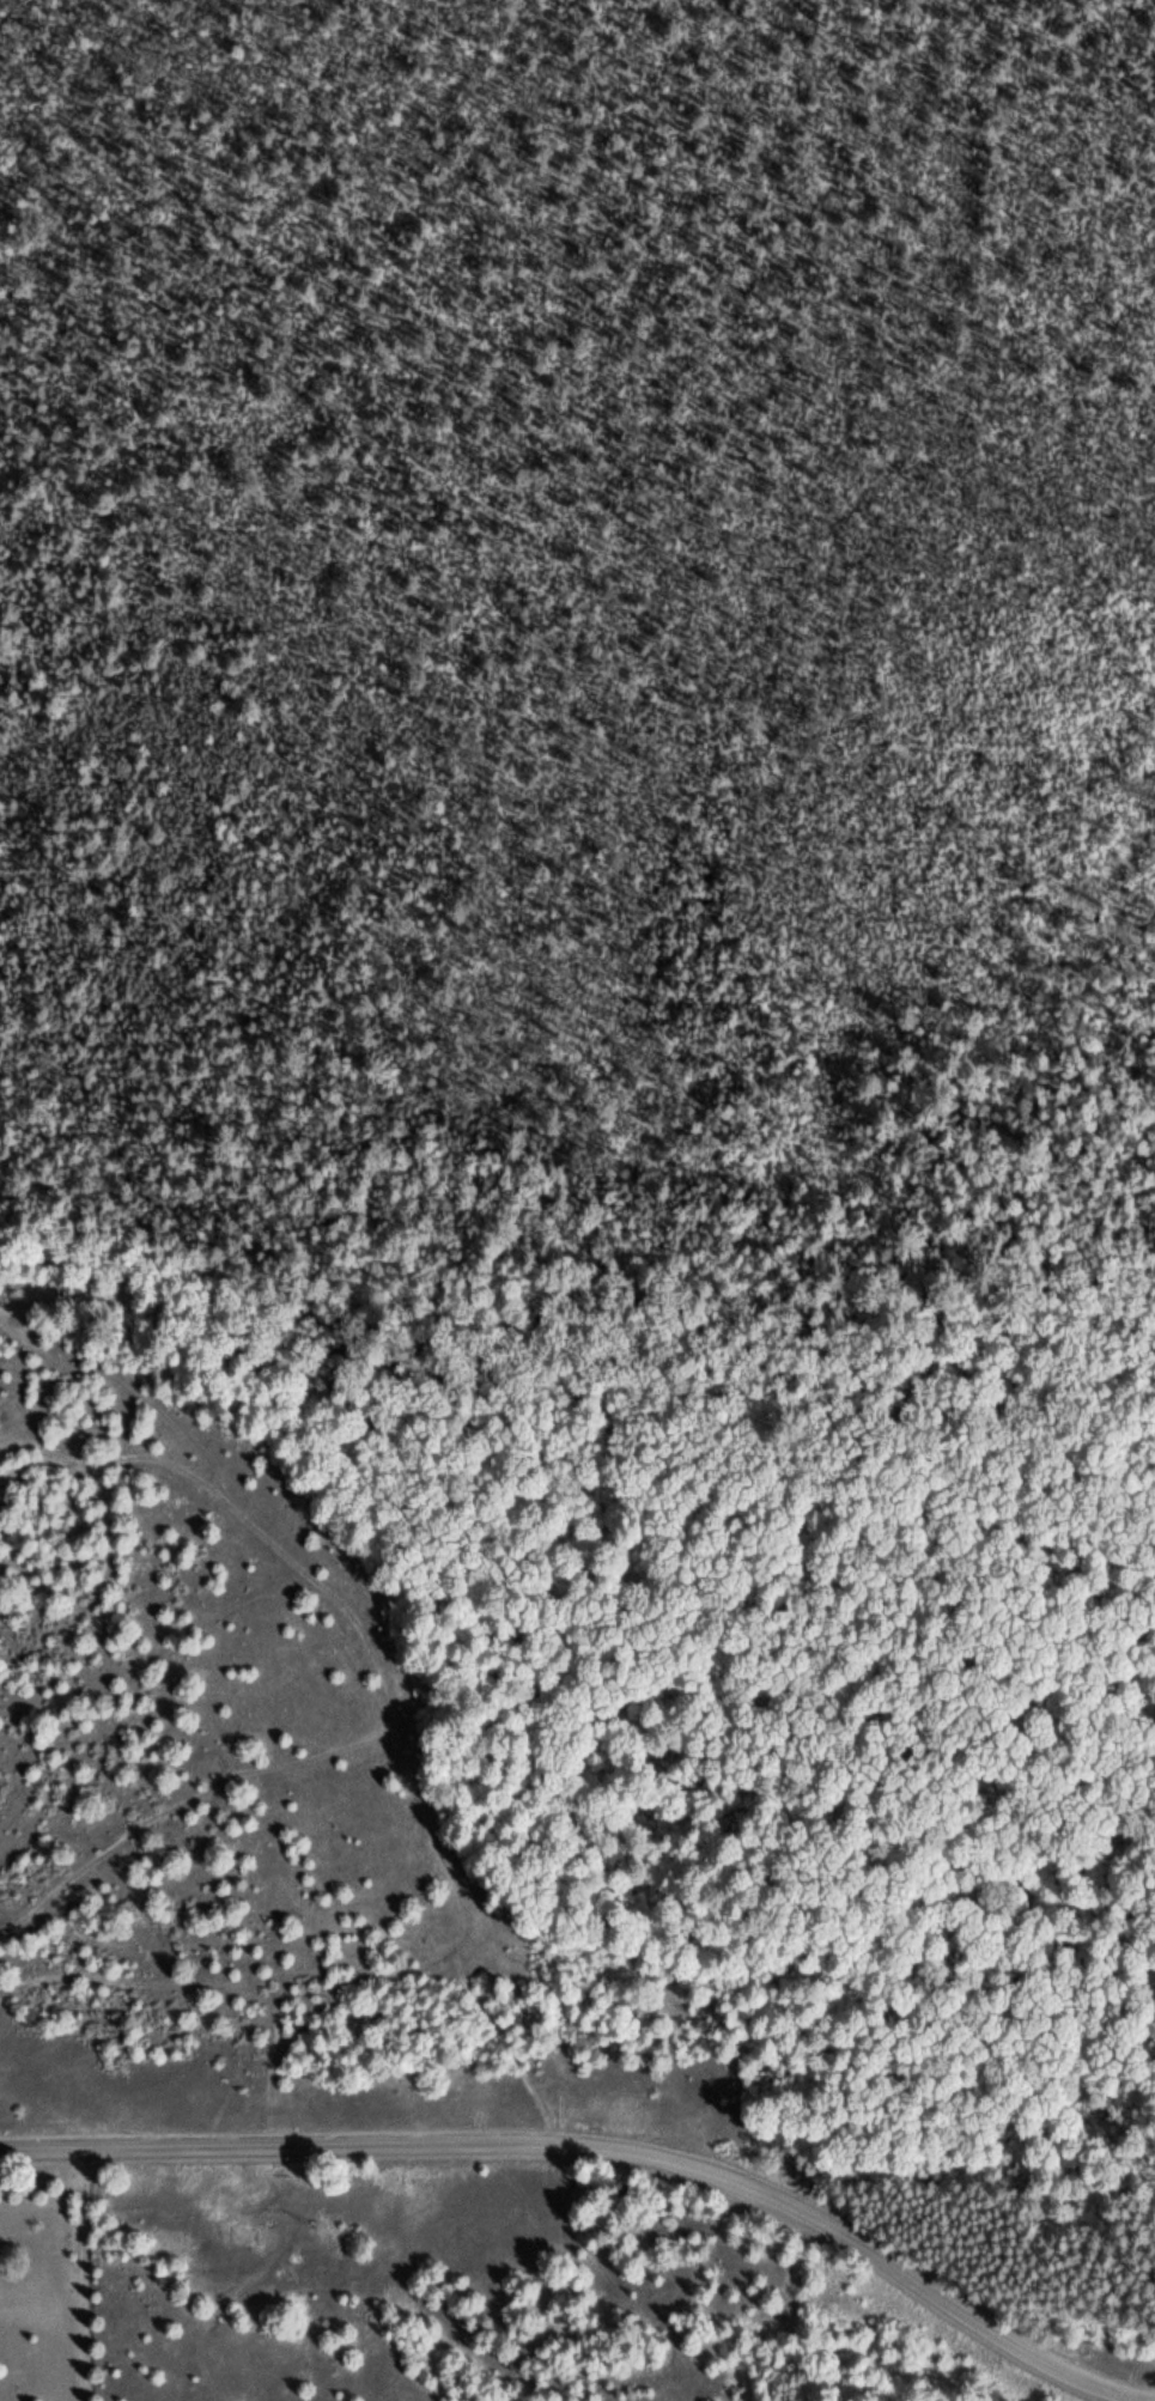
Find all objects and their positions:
road: (60, 1299)
road: (601, 2146)

